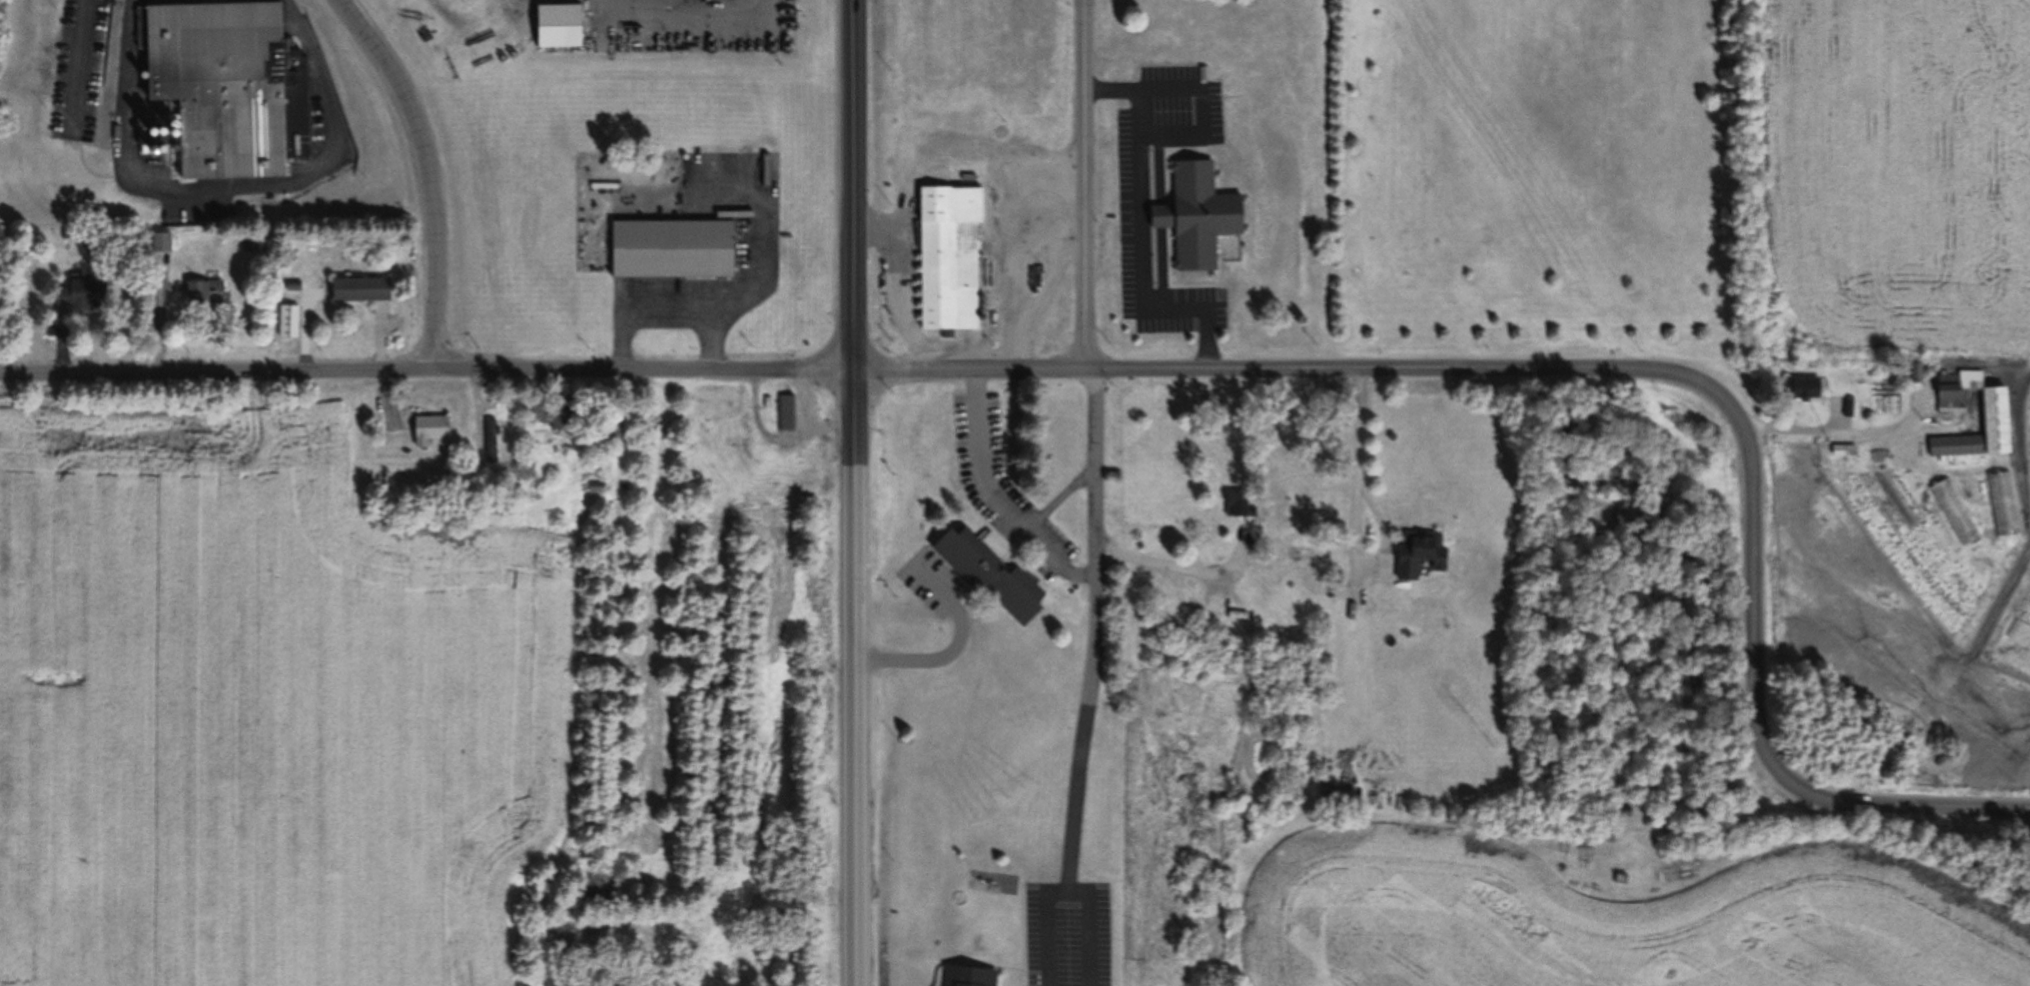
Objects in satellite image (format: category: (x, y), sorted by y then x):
road: (680, 9)
building: (559, 25)
road: (76, 66)
building: (230, 86)
road: (1203, 109)
building: (1036, 125)
road: (428, 173)
road: (1084, 184)
road: (226, 195)
building: (1196, 217)
road: (1142, 228)
building: (158, 243)
building: (671, 252)
building: (948, 255)
building: (356, 291)
building: (202, 293)
building: (77, 295)
road: (1615, 363)
road: (425, 366)
building: (1912, 372)
building: (1799, 388)
building: (1944, 391)
building: (1987, 397)
building: (784, 410)
building: (547, 415)
building: (428, 428)
road: (1845, 428)
building: (487, 441)
building: (1952, 445)
road: (852, 492)
road: (1061, 496)
building: (1237, 504)
road: (1355, 513)
road: (1037, 539)
building: (1416, 556)
road: (1177, 566)
building: (990, 575)
road: (1095, 632)
road: (1066, 894)
parking lot: (1067, 933)
building: (965, 976)

